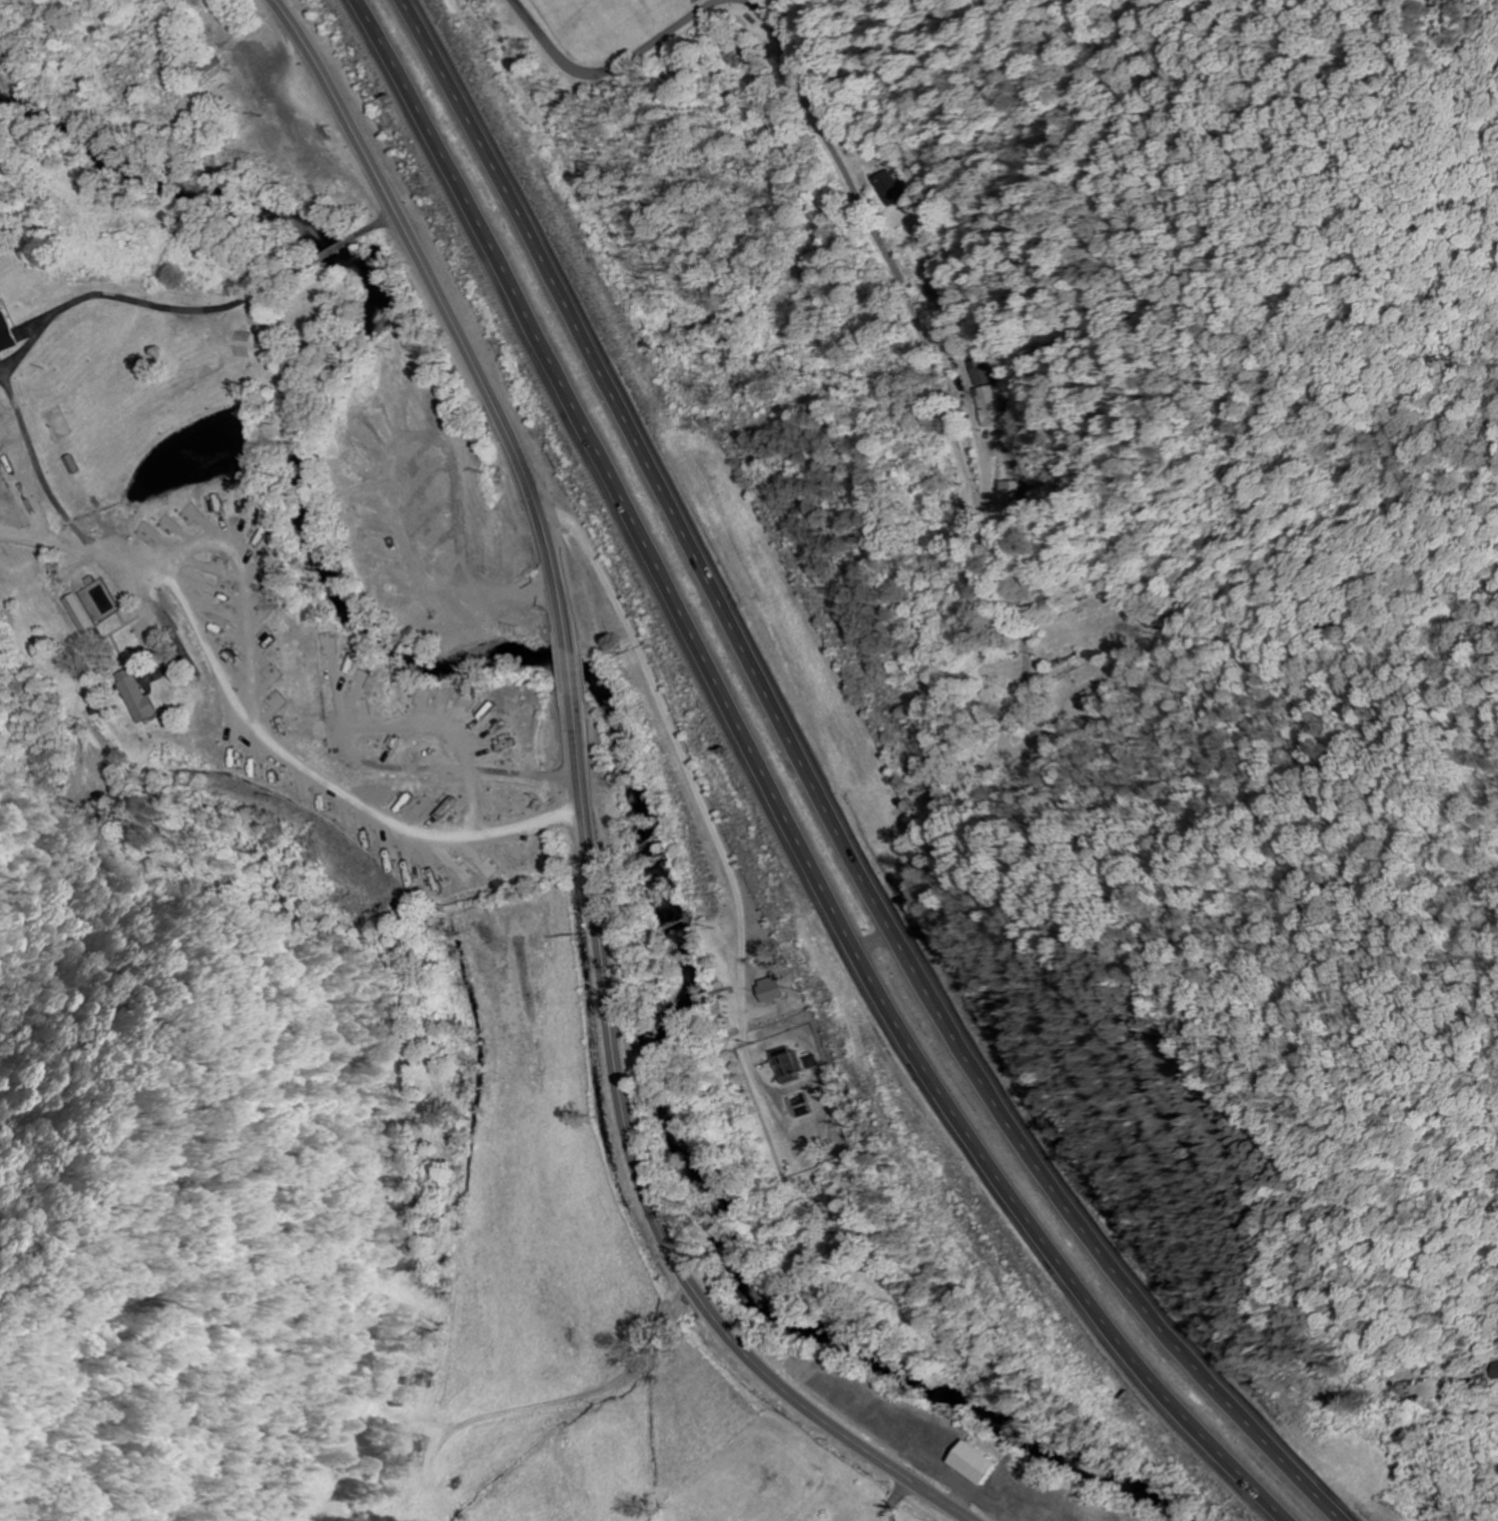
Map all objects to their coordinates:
road: (528, 20)
building: (208, 72)
road: (591, 72)
building: (891, 188)
road: (896, 277)
road: (447, 314)
building: (4, 336)
building: (979, 373)
building: (989, 406)
road: (428, 418)
road: (403, 420)
road: (454, 431)
road: (378, 435)
road: (424, 462)
road: (369, 463)
road: (390, 482)
road: (368, 487)
building: (1009, 493)
road: (426, 503)
road: (370, 513)
road: (222, 522)
road: (202, 525)
road: (239, 526)
road: (178, 533)
road: (431, 535)
road: (376, 539)
road: (162, 542)
road: (251, 549)
road: (86, 553)
road: (437, 569)
road: (210, 570)
road: (388, 570)
road: (258, 571)
road: (210, 590)
road: (260, 593)
road: (401, 594)
road: (213, 610)
road: (429, 612)
building: (74, 613)
road: (260, 615)
road: (218, 629)
road: (260, 646)
road: (228, 665)
road: (343, 672)
road: (570, 674)
road: (263, 685)
road: (335, 686)
building: (133, 695)
road: (352, 696)
road: (422, 704)
road: (234, 706)
road: (441, 706)
river: (614, 710)
road: (459, 713)
road: (266, 715)
road: (474, 723)
road: (381, 724)
road: (482, 737)
road: (233, 740)
road: (284, 743)
road: (390, 744)
road: (487, 749)
road: (253, 754)
road: (273, 767)
road: (524, 775)
road: (301, 786)
road: (771, 794)
road: (824, 798)
road: (320, 799)
road: (394, 807)
road: (413, 814)
road: (344, 816)
road: (432, 819)
road: (366, 830)
road: (387, 847)
road: (407, 855)
road: (473, 855)
road: (448, 858)
road: (431, 861)
building: (771, 990)
building: (812, 1062)
road: (639, 1178)
road: (681, 1308)
building: (1495, 1370)
road: (1492, 1408)
building: (973, 1462)

